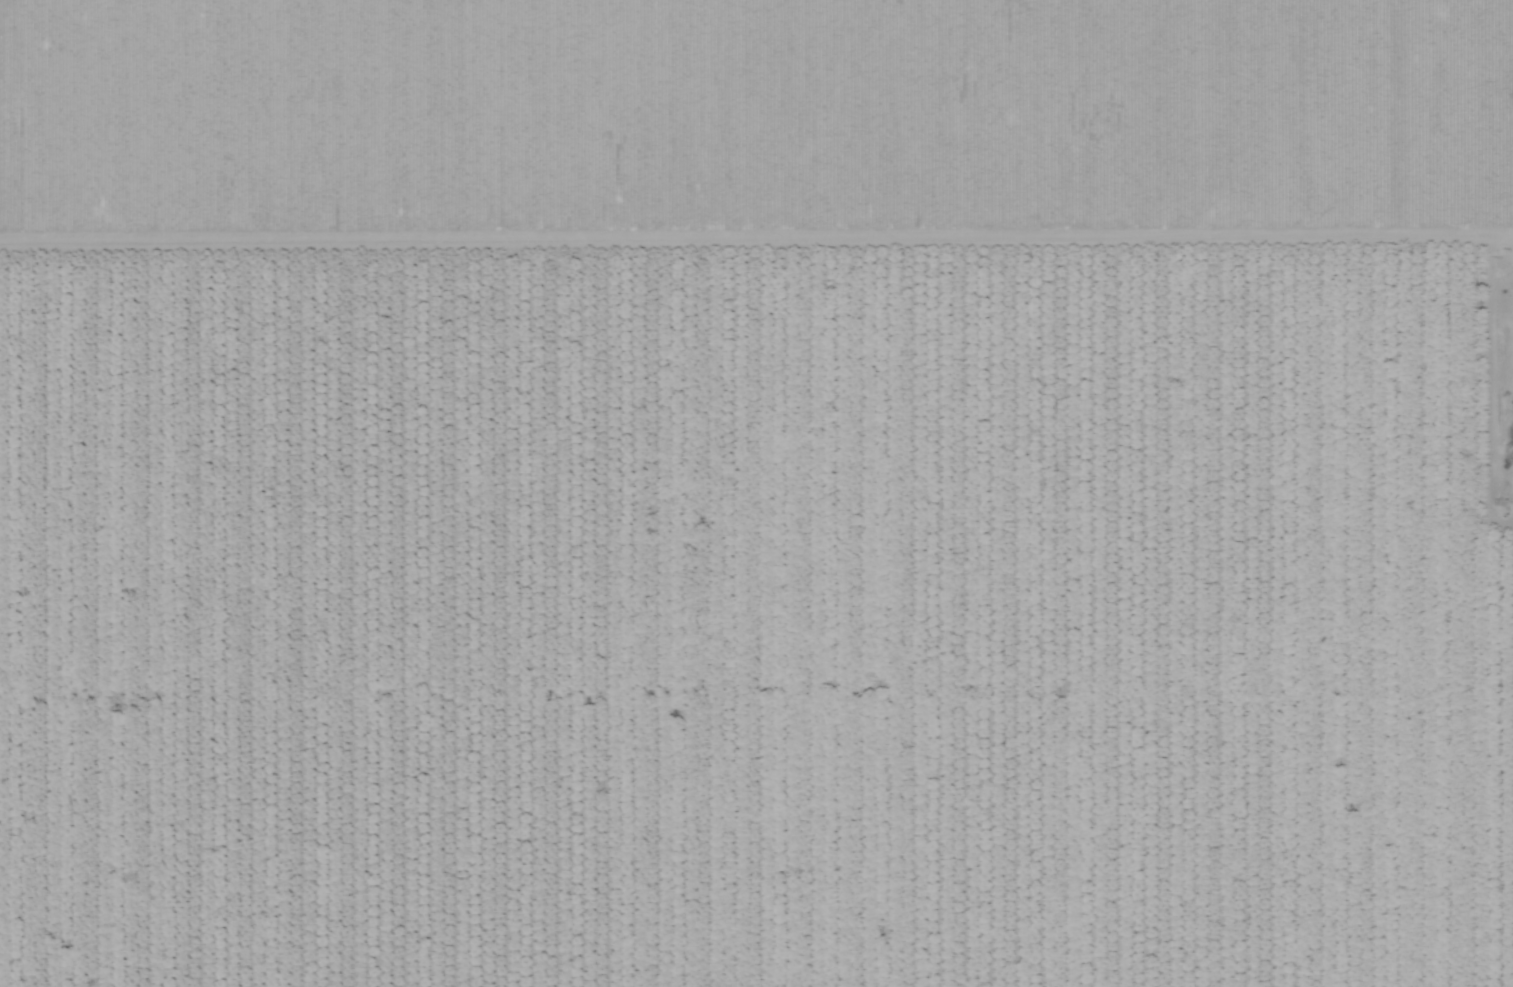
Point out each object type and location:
crop: (750, 111)

